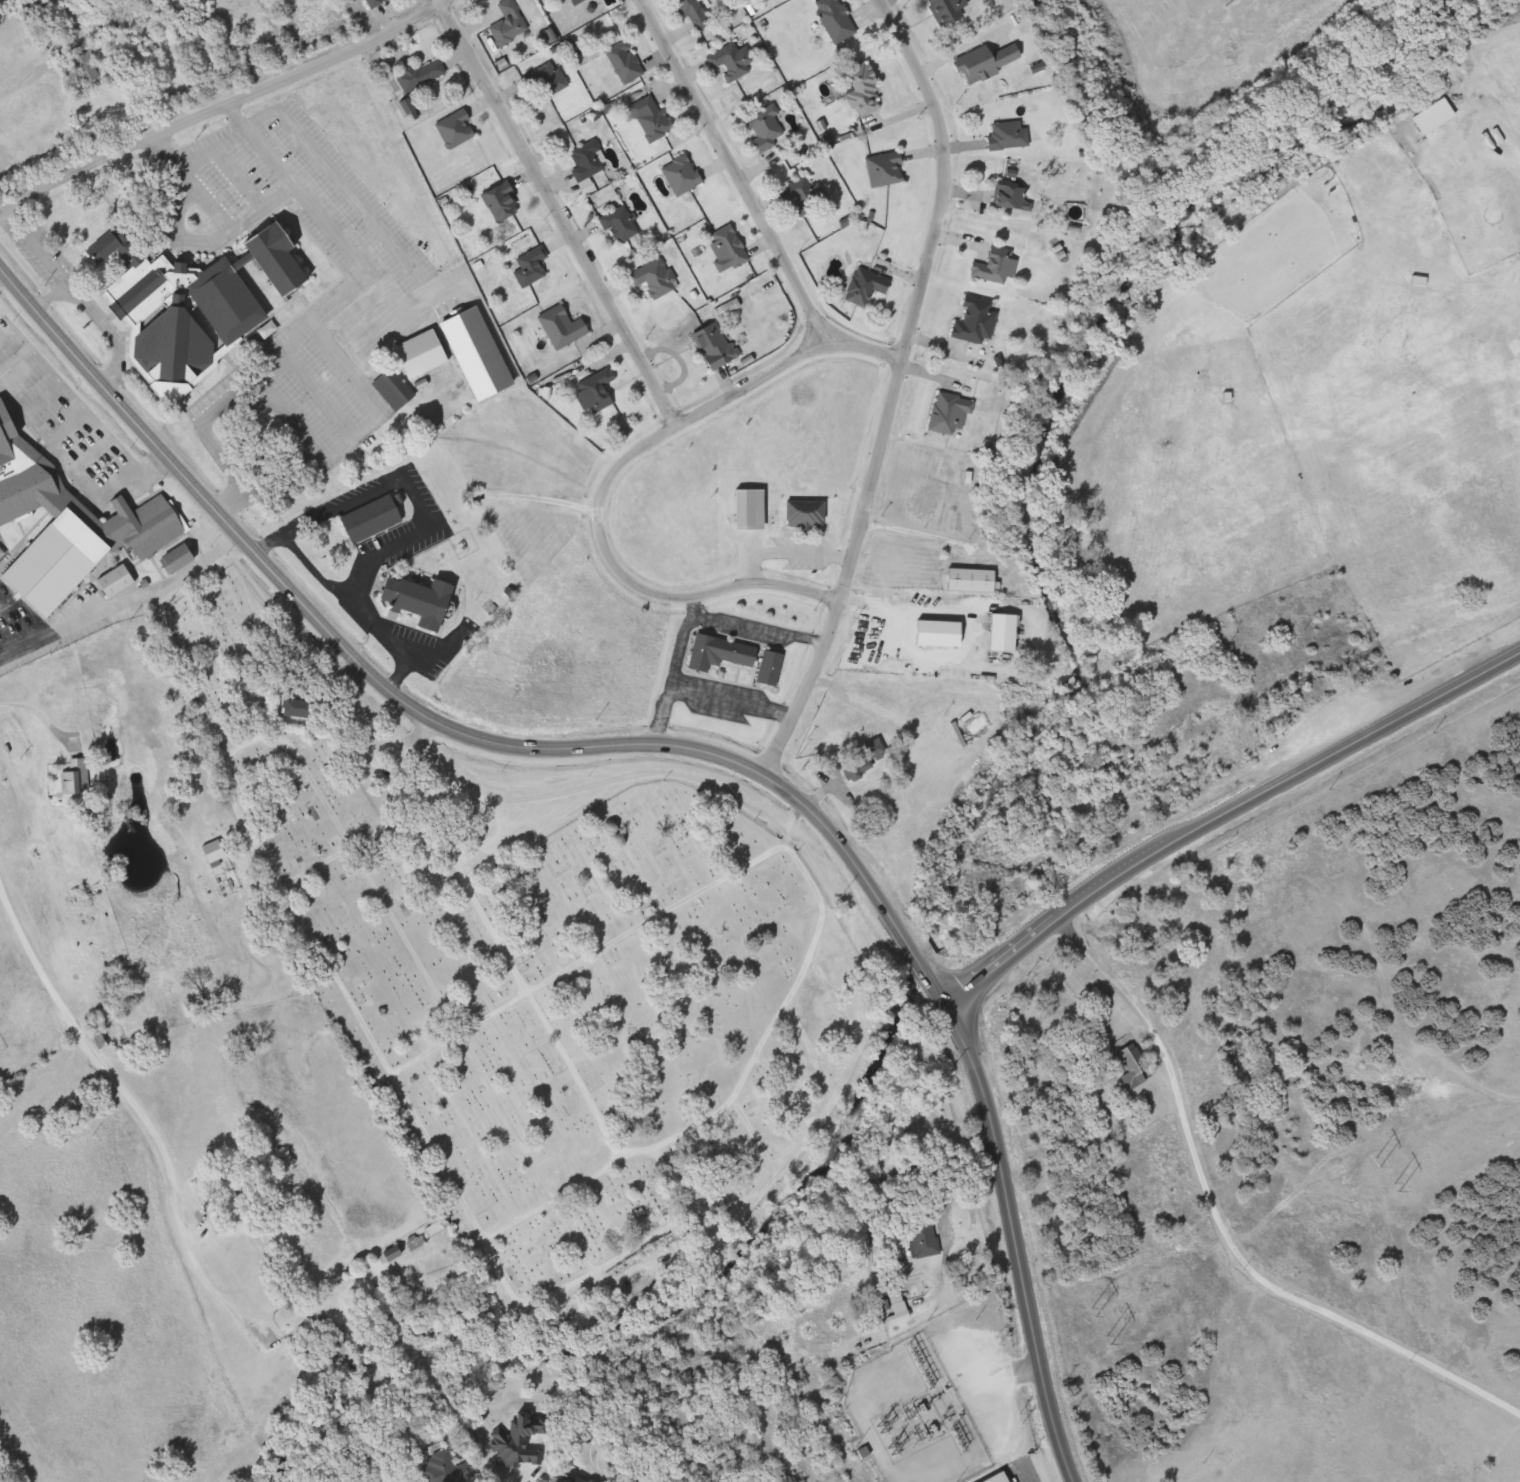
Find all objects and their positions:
building: (546, 0)
building: (578, 2)
building: (377, 3)
building: (950, 11)
building: (697, 14)
building: (838, 20)
building: (511, 24)
road: (50, 60)
building: (734, 62)
building: (991, 62)
building: (627, 63)
building: (89, 69)
building: (423, 75)
building: (548, 81)
building: (866, 89)
road: (224, 102)
building: (410, 108)
building: (1437, 117)
road: (1486, 117)
building: (654, 119)
building: (769, 129)
building: (1012, 135)
road: (209, 144)
road: (1519, 159)
building: (590, 161)
road: (730, 169)
building: (888, 169)
building: (684, 175)
building: (807, 195)
building: (1017, 197)
building: (506, 203)
road: (555, 212)
building: (622, 224)
road: (35, 248)
building: (731, 250)
building: (1000, 267)
building: (533, 268)
building: (657, 278)
building: (869, 287)
road: (439, 294)
building: (200, 303)
road: (96, 316)
building: (980, 322)
parking lot: (342, 325)
building: (565, 327)
building: (716, 348)
building: (426, 355)
building: (483, 356)
road: (243, 382)
road: (890, 389)
building: (395, 392)
building: (598, 392)
building: (953, 414)
road: (68, 462)
road: (607, 474)
road: (394, 475)
road: (542, 493)
building: (810, 514)
building: (375, 518)
building: (69, 523)
road: (780, 551)
building: (181, 558)
road: (307, 561)
building: (975, 579)
building: (119, 582)
crop: (545, 588)
building: (426, 599)
road: (122, 609)
road: (695, 621)
road: (969, 622)
building: (1010, 631)
road: (385, 635)
building: (724, 652)
building: (775, 667)
road: (728, 699)
building: (305, 707)
road: (42, 719)
road: (433, 723)
building: (873, 753)
building: (76, 782)
road: (584, 785)
road: (1221, 811)
building: (217, 851)
park: (532, 974)
building: (102, 1041)
building: (1135, 1070)
road: (136, 1105)
building: (227, 1193)
road: (1220, 1228)
building: (926, 1239)
road: (1013, 1239)
road: (484, 1246)
building: (768, 1419)
building: (448, 1469)
road: (1020, 1478)
building: (573, 1479)
building: (387, 1481)

